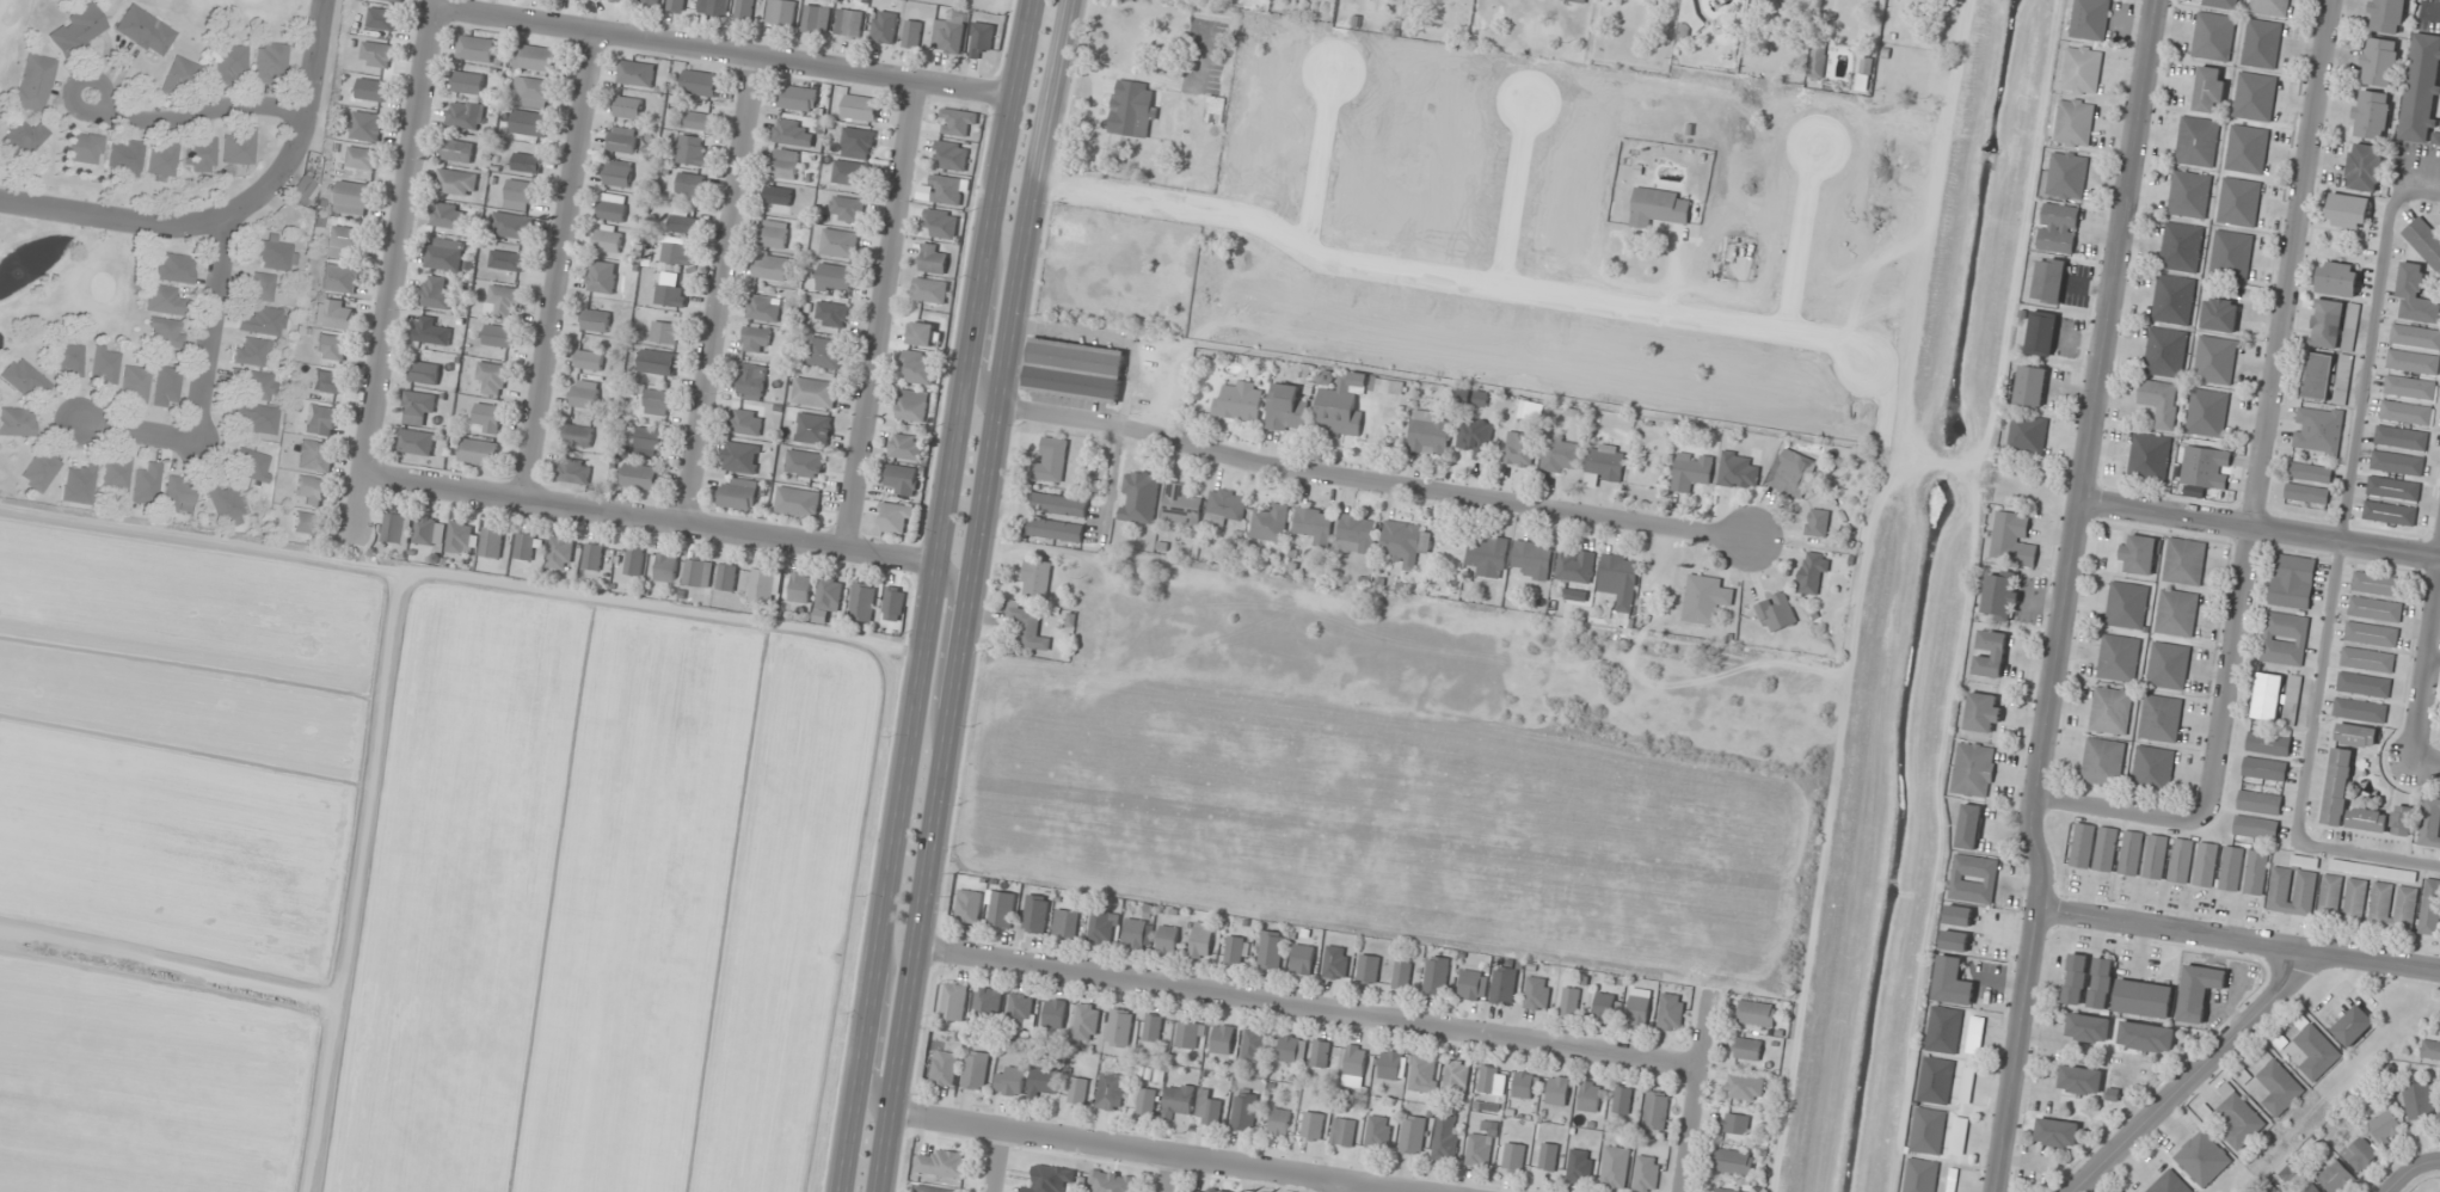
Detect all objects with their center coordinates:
building: (398, 0)
building: (622, 0)
building: (1578, 1)
building: (651, 4)
building: (2223, 4)
building: (676, 5)
building: (718, 7)
building: (2269, 7)
building: (744, 11)
building: (781, 12)
building: (2386, 16)
building: (383, 18)
building: (816, 18)
building: (2090, 19)
building: (849, 23)
building: (884, 26)
building: (76, 30)
building: (145, 31)
building: (912, 33)
building: (948, 33)
building: (2213, 36)
building: (982, 38)
building: (2261, 43)
building: (475, 48)
road: (723, 49)
building: (377, 54)
building: (536, 57)
building: (231, 61)
building: (270, 62)
building: (2379, 62)
building: (2082, 69)
building: (637, 73)
building: (178, 76)
building: (33, 82)
building: (469, 82)
building: (700, 82)
building: (373, 90)
building: (2209, 90)
building: (536, 92)
building: (2255, 97)
building: (798, 98)
building: (628, 107)
building: (861, 107)
building: (1133, 107)
building: (1215, 109)
building: (2371, 113)
road: (195, 115)
building: (465, 115)
building: (699, 119)
building: (958, 122)
building: (2075, 122)
building: (530, 123)
building: (367, 125)
building: (794, 133)
building: (27, 137)
building: (623, 140)
building: (2198, 141)
building: (858, 142)
building: (239, 147)
building: (84, 148)
building: (689, 149)
building: (2247, 149)
building: (459, 150)
building: (199, 154)
building: (953, 154)
building: (125, 155)
building: (361, 158)
building: (164, 159)
building: (528, 162)
building: (785, 164)
building: (2364, 166)
building: (850, 172)
building: (619, 173)
building: (2067, 174)
building: (457, 182)
building: (690, 183)
building: (946, 189)
building: (305, 190)
building: (2189, 193)
building: (521, 195)
building: (779, 195)
building: (354, 197)
building: (2238, 202)
building: (613, 207)
building: (1659, 207)
road: (236, 208)
building: (847, 209)
building: (2348, 211)
building: (449, 215)
road: (113, 219)
building: (683, 220)
building: (941, 222)
building: (512, 225)
building: (2058, 227)
building: (774, 233)
building: (609, 238)
building: (346, 240)
building: (838, 242)
building: (2181, 246)
building: (677, 253)
building: (2231, 253)
building: (277, 254)
building: (444, 257)
building: (934, 258)
building: (508, 259)
road: (560, 262)
road: (394, 264)
building: (772, 266)
building: (174, 268)
building: (602, 276)
building: (835, 276)
building: (340, 277)
building: (2337, 278)
building: (2048, 279)
building: (259, 285)
road: (719, 287)
building: (930, 290)
building: (436, 293)
building: (671, 295)
building: (2415, 295)
building: (164, 300)
building: (2174, 300)
building: (503, 301)
building: (763, 307)
road: (881, 311)
building: (334, 313)
building: (831, 314)
building: (2220, 314)
building: (596, 320)
building: (264, 321)
building: (2327, 324)
building: (2350, 326)
building: (431, 330)
building: (166, 331)
building: (666, 332)
road: (987, 332)
building: (922, 333)
building: (2041, 333)
building: (499, 334)
building: (2415, 336)
building: (756, 339)
building: (332, 346)
building: (251, 351)
building: (825, 352)
building: (2165, 352)
building: (69, 357)
building: (590, 360)
building: (2214, 360)
building: (2413, 361)
building: (658, 362)
building: (105, 365)
building: (918, 367)
building: (1074, 369)
building: (425, 371)
building: (493, 376)
building: (2318, 376)
building: (23, 377)
building: (751, 380)
building: (328, 381)
building: (135, 385)
building: (254, 385)
building: (1384, 385)
building: (2030, 386)
building: (166, 387)
building: (2409, 387)
building: (815, 392)
building: (585, 394)
building: (1475, 398)
building: (657, 401)
building: (1240, 401)
building: (2161, 401)
building: (912, 405)
building: (1341, 406)
building: (419, 407)
building: (1287, 408)
road: (2269, 410)
building: (2207, 412)
building: (2405, 412)
building: (487, 417)
building: (258, 418)
building: (322, 419)
building: (17, 422)
building: (748, 422)
building: (813, 429)
building: (2318, 430)
road: (139, 431)
building: (580, 431)
building: (1428, 431)
building: (2028, 432)
building: (1475, 437)
building: (2401, 437)
building: (649, 441)
building: (416, 444)
building: (906, 446)
building: (1519, 449)
building: (479, 451)
building: (1561, 454)
building: (313, 456)
building: (740, 456)
building: (2150, 456)
building: (1051, 457)
building: (1604, 462)
building: (2397, 462)
building: (805, 463)
building: (252, 465)
building: (2205, 467)
building: (39, 471)
building: (573, 471)
building: (1691, 471)
building: (1738, 471)
building: (115, 472)
building: (1791, 472)
building: (2310, 472)
building: (640, 475)
building: (902, 479)
building: (146, 483)
building: (78, 484)
road: (1373, 484)
building: (2393, 489)
building: (312, 491)
building: (738, 493)
building: (2306, 493)
building: (178, 494)
building: (1139, 497)
building: (798, 502)
building: (1059, 504)
building: (225, 505)
building: (1181, 505)
building: (1224, 506)
road: (650, 512)
building: (2390, 512)
building: (896, 518)
building: (1817, 522)
building: (307, 523)
building: (1271, 523)
building: (1315, 524)
building: (397, 528)
road: (2260, 529)
building: (430, 530)
building: (1057, 530)
building: (1356, 534)
building: (462, 536)
building: (2012, 540)
building: (1405, 541)
building: (492, 542)
building: (529, 547)
building: (560, 553)
building: (2139, 554)
building: (592, 557)
building: (1488, 557)
building: (1532, 559)
building: (634, 563)
building: (1575, 565)
building: (665, 567)
building: (699, 573)
building: (1813, 573)
building: (727, 577)
building: (1035, 578)
building: (1620, 579)
building: (2292, 580)
building: (2377, 583)
building: (764, 586)
building: (800, 588)
building: (2180, 588)
building: (829, 595)
road: (930, 595)
road: (967, 595)
building: (2000, 595)
road: (2065, 596)
building: (1704, 598)
building: (862, 602)
building: (2126, 606)
building: (2374, 609)
building: (1776, 613)
building: (1026, 627)
building: (2371, 634)
building: (2285, 639)
road: (942, 647)
building: (1990, 652)
building: (2118, 658)
building: (2367, 659)
building: (2169, 665)
road: (2428, 678)
building: (2364, 684)
building: (2276, 698)
building: (2110, 709)
building: (2359, 711)
building: (1983, 712)
building: (2161, 718)
building: (2356, 736)
building: (2268, 743)
road: (2428, 757)
building: (2103, 762)
building: (1973, 769)
building: (2152, 769)
building: (2264, 769)
building: (2337, 786)
building: (2258, 801)
road: (2118, 809)
building: (2367, 819)
building: (2402, 819)
building: (2429, 823)
building: (1969, 825)
building: (2255, 828)
building: (2082, 846)
building: (2106, 848)
building: (2131, 853)
building: (2156, 856)
building: (2181, 861)
building: (2305, 861)
building: (2206, 865)
building: (2231, 868)
building: (2373, 871)
building: (2256, 872)
building: (1973, 879)
building: (2292, 891)
building: (2342, 898)
building: (969, 905)
building: (2392, 907)
building: (2430, 907)
building: (1002, 909)
building: (1035, 914)
building: (1959, 915)
building: (1065, 923)
building: (1104, 926)
building: (1135, 933)
building: (1168, 939)
road: (2237, 939)
building: (1201, 940)
building: (1955, 940)
building: (1235, 948)
building: (1271, 950)
building: (1302, 958)
building: (1336, 963)
building: (1369, 969)
building: (1402, 975)
building: (1437, 975)
building: (2076, 978)
building: (1952, 982)
building: (2101, 983)
building: (1474, 984)
building: (1504, 985)
building: (2199, 991)
building: (1538, 993)
building: (2144, 999)
building: (954, 1001)
building: (988, 1001)
building: (1571, 1001)
road: (1307, 1006)
building: (1608, 1006)
building: (1639, 1007)
building: (1020, 1009)
building: (1671, 1012)
building: (1055, 1013)
building: (1757, 1013)
building: (1086, 1021)
building: (2352, 1025)
road: (879, 1027)
building: (1119, 1027)
building: (1153, 1027)
building: (2088, 1027)
building: (1944, 1030)
building: (1190, 1034)
building: (1974, 1034)
building: (2146, 1037)
building: (1222, 1039)
building: (1255, 1045)
building: (1292, 1049)
building: (1748, 1049)
building: (2315, 1050)
building: (2430, 1050)
building: (1321, 1052)
building: (1354, 1064)
building: (1390, 1064)
building: (945, 1068)
building: (976, 1070)
building: (1421, 1073)
road: (2194, 1074)
building: (1456, 1077)
building: (1488, 1079)
building: (1009, 1080)
building: (1936, 1080)
building: (2081, 1080)
building: (1043, 1082)
building: (2278, 1083)
building: (1525, 1085)
building: (1967, 1085)
building: (1745, 1087)
building: (1077, 1090)
building: (1110, 1090)
building: (1559, 1090)
road: (1695, 1093)
building: (1590, 1096)
building: (1178, 1099)
building: (1622, 1099)
building: (1142, 1100)
building: (2419, 1100)
building: (1207, 1108)
building: (1655, 1110)
building: (1244, 1111)
building: (2238, 1118)
building: (1279, 1122)
building: (1735, 1123)
building: (1313, 1126)
building: (2384, 1128)
building: (1344, 1131)
building: (1928, 1131)
building: (1378, 1132)
building: (2057, 1132)
building: (1413, 1133)
building: (1446, 1137)
building: (1482, 1145)
road: (1147, 1150)
building: (2360, 1154)
building: (1514, 1156)
building: (1548, 1156)
building: (2202, 1159)
road: (1000, 1161)
building: (1734, 1161)
building: (941, 1162)
road: (2432, 1162)
building: (1580, 1166)
building: (1615, 1167)
road: (1169, 1173)
building: (1647, 1174)
road: (2403, 1174)
building: (1920, 1175)
building: (2335, 1176)
building: (1051, 1179)
building: (1953, 1180)
building: (1111, 1181)
building: (2170, 1182)
road: (1340, 1187)
building: (2311, 1188)
building: (934, 1190)
building: (1206, 1190)
building: (1726, 1190)

